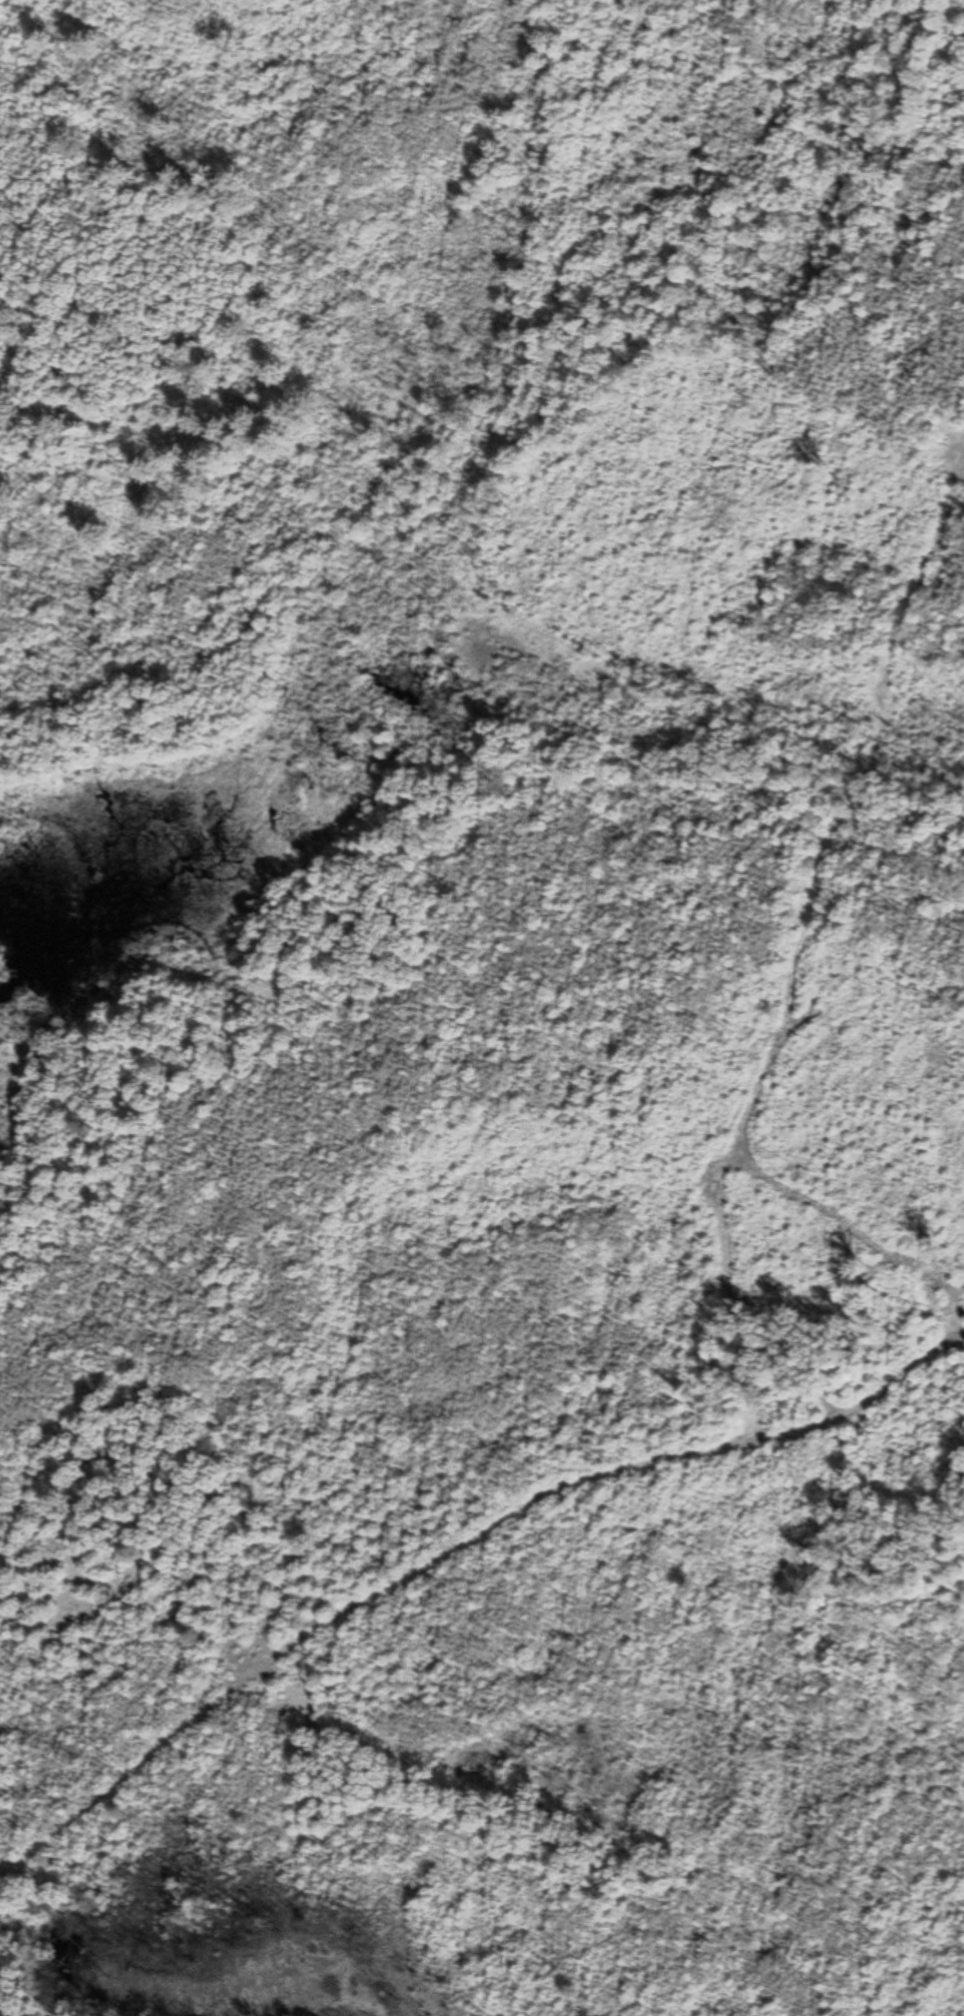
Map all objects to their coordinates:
road: (28, 2004)

